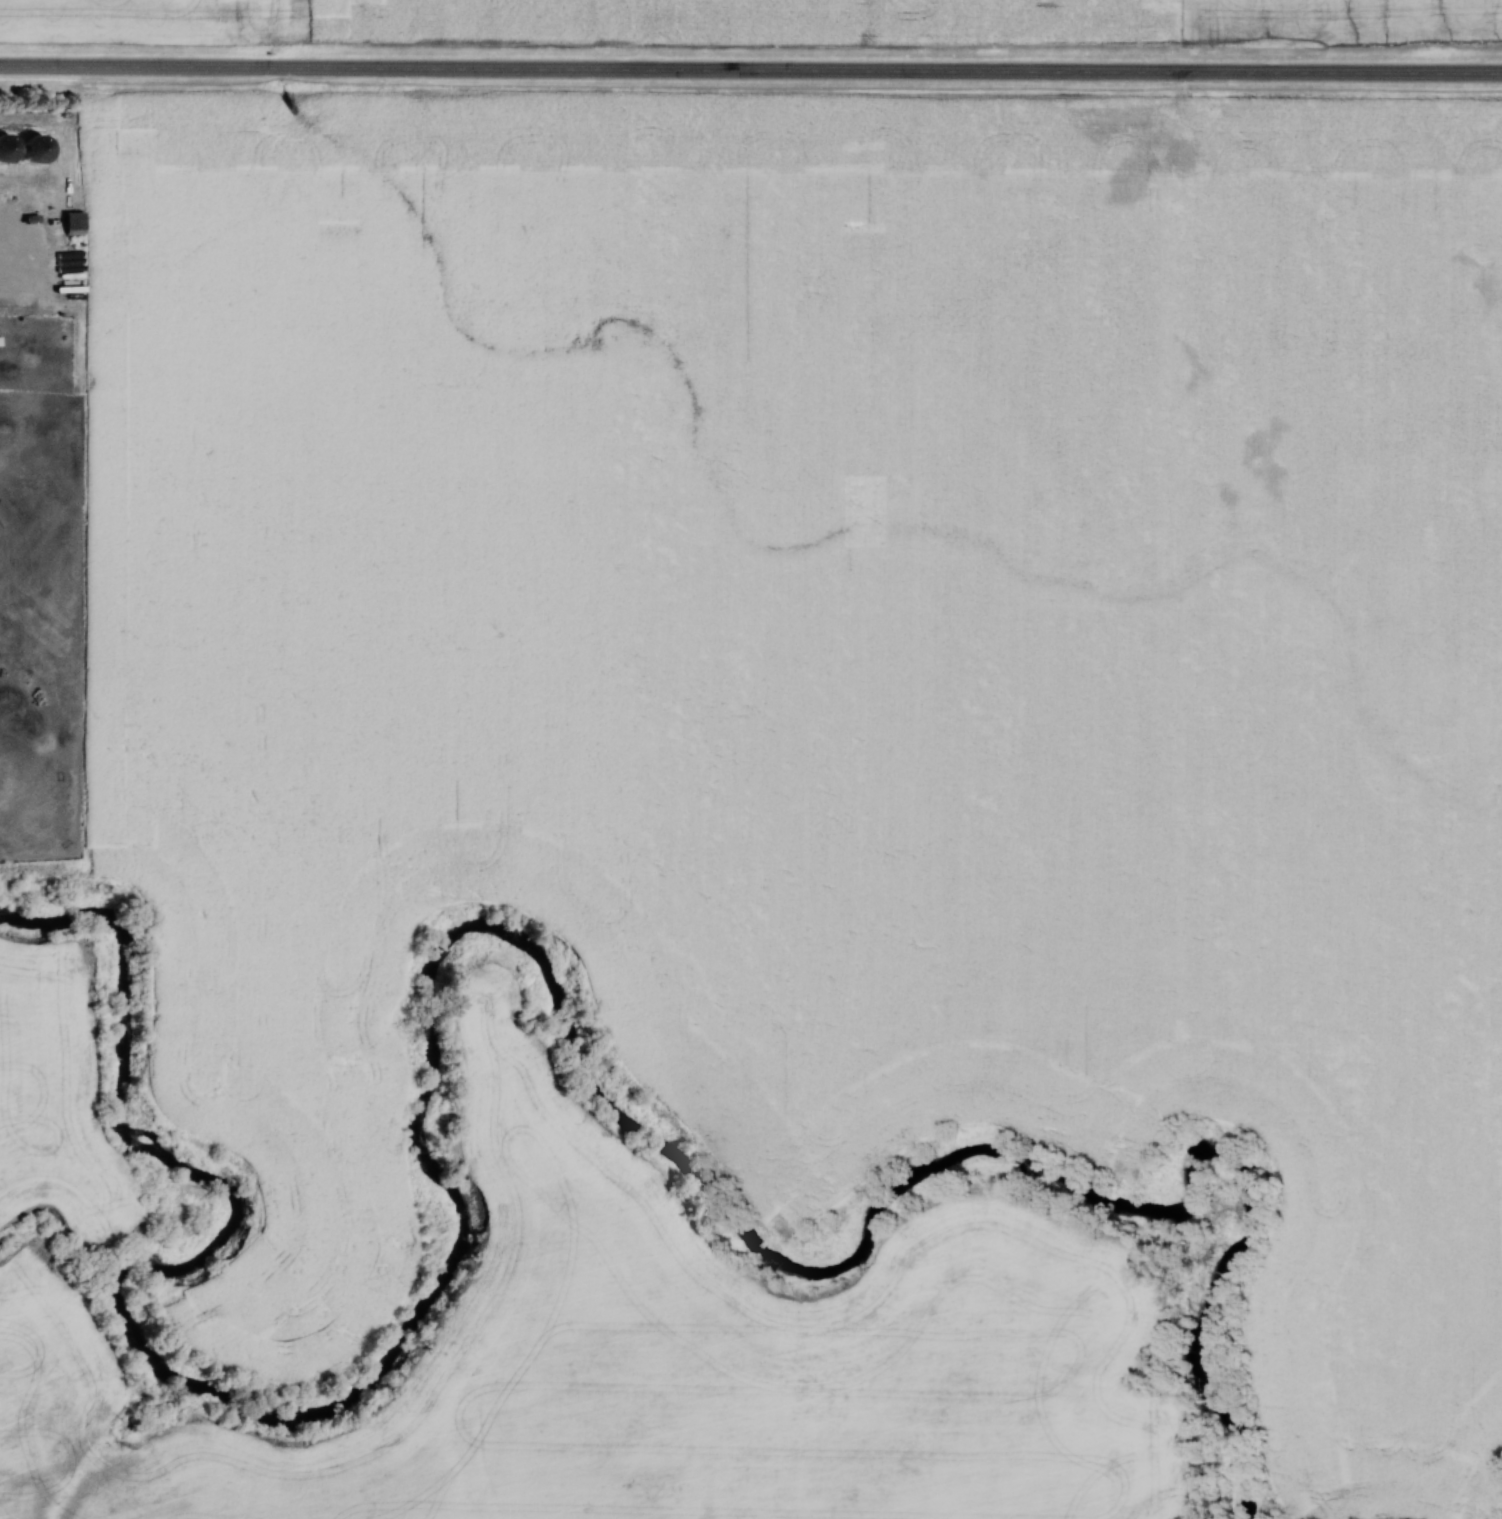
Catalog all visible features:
road: (751, 69)
building: (25, 163)
building: (75, 221)
building: (1, 340)
river: (436, 948)

